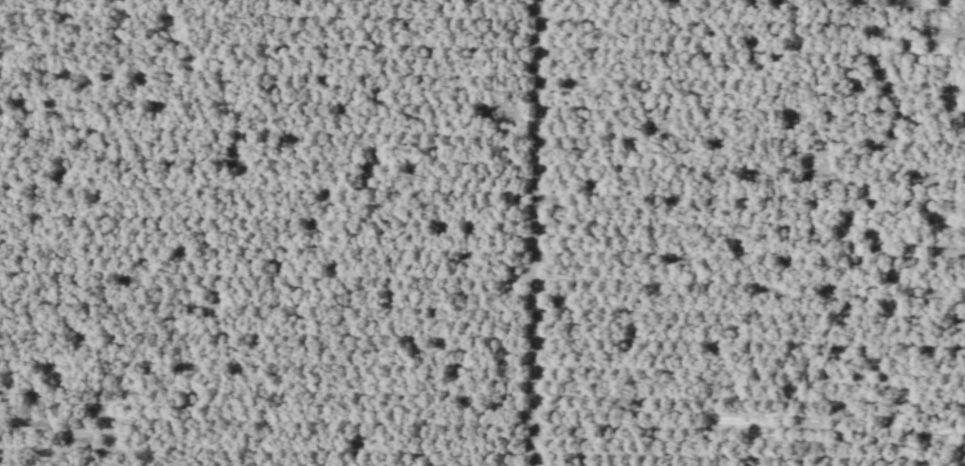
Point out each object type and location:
road: (533, 233)

